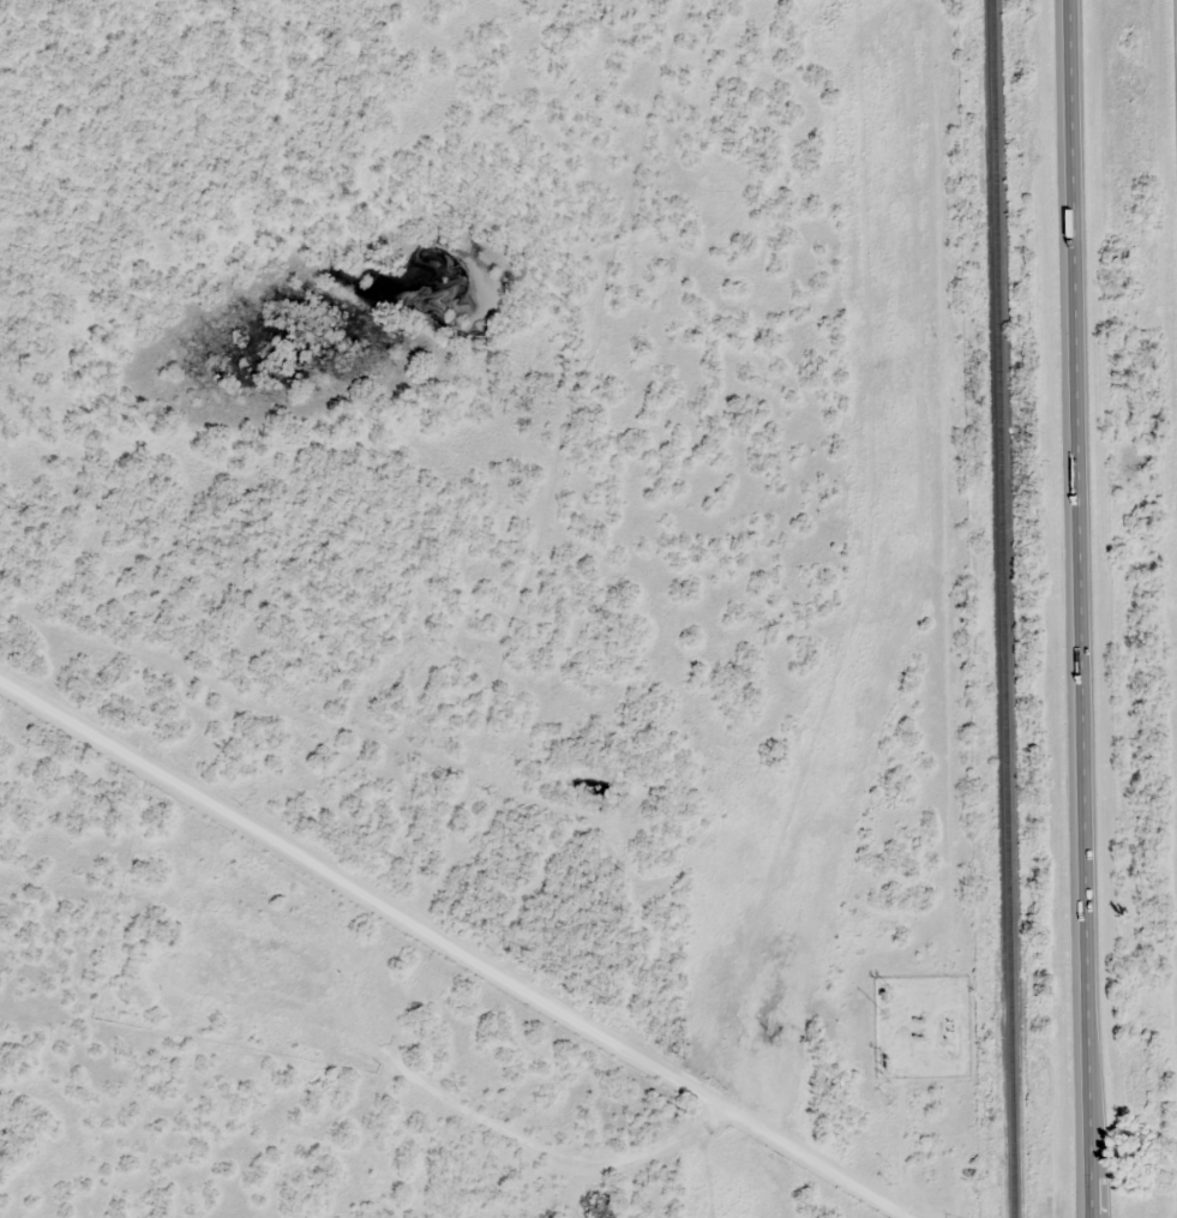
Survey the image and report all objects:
railway: (1007, 608)
road: (1081, 608)
road: (468, 967)

